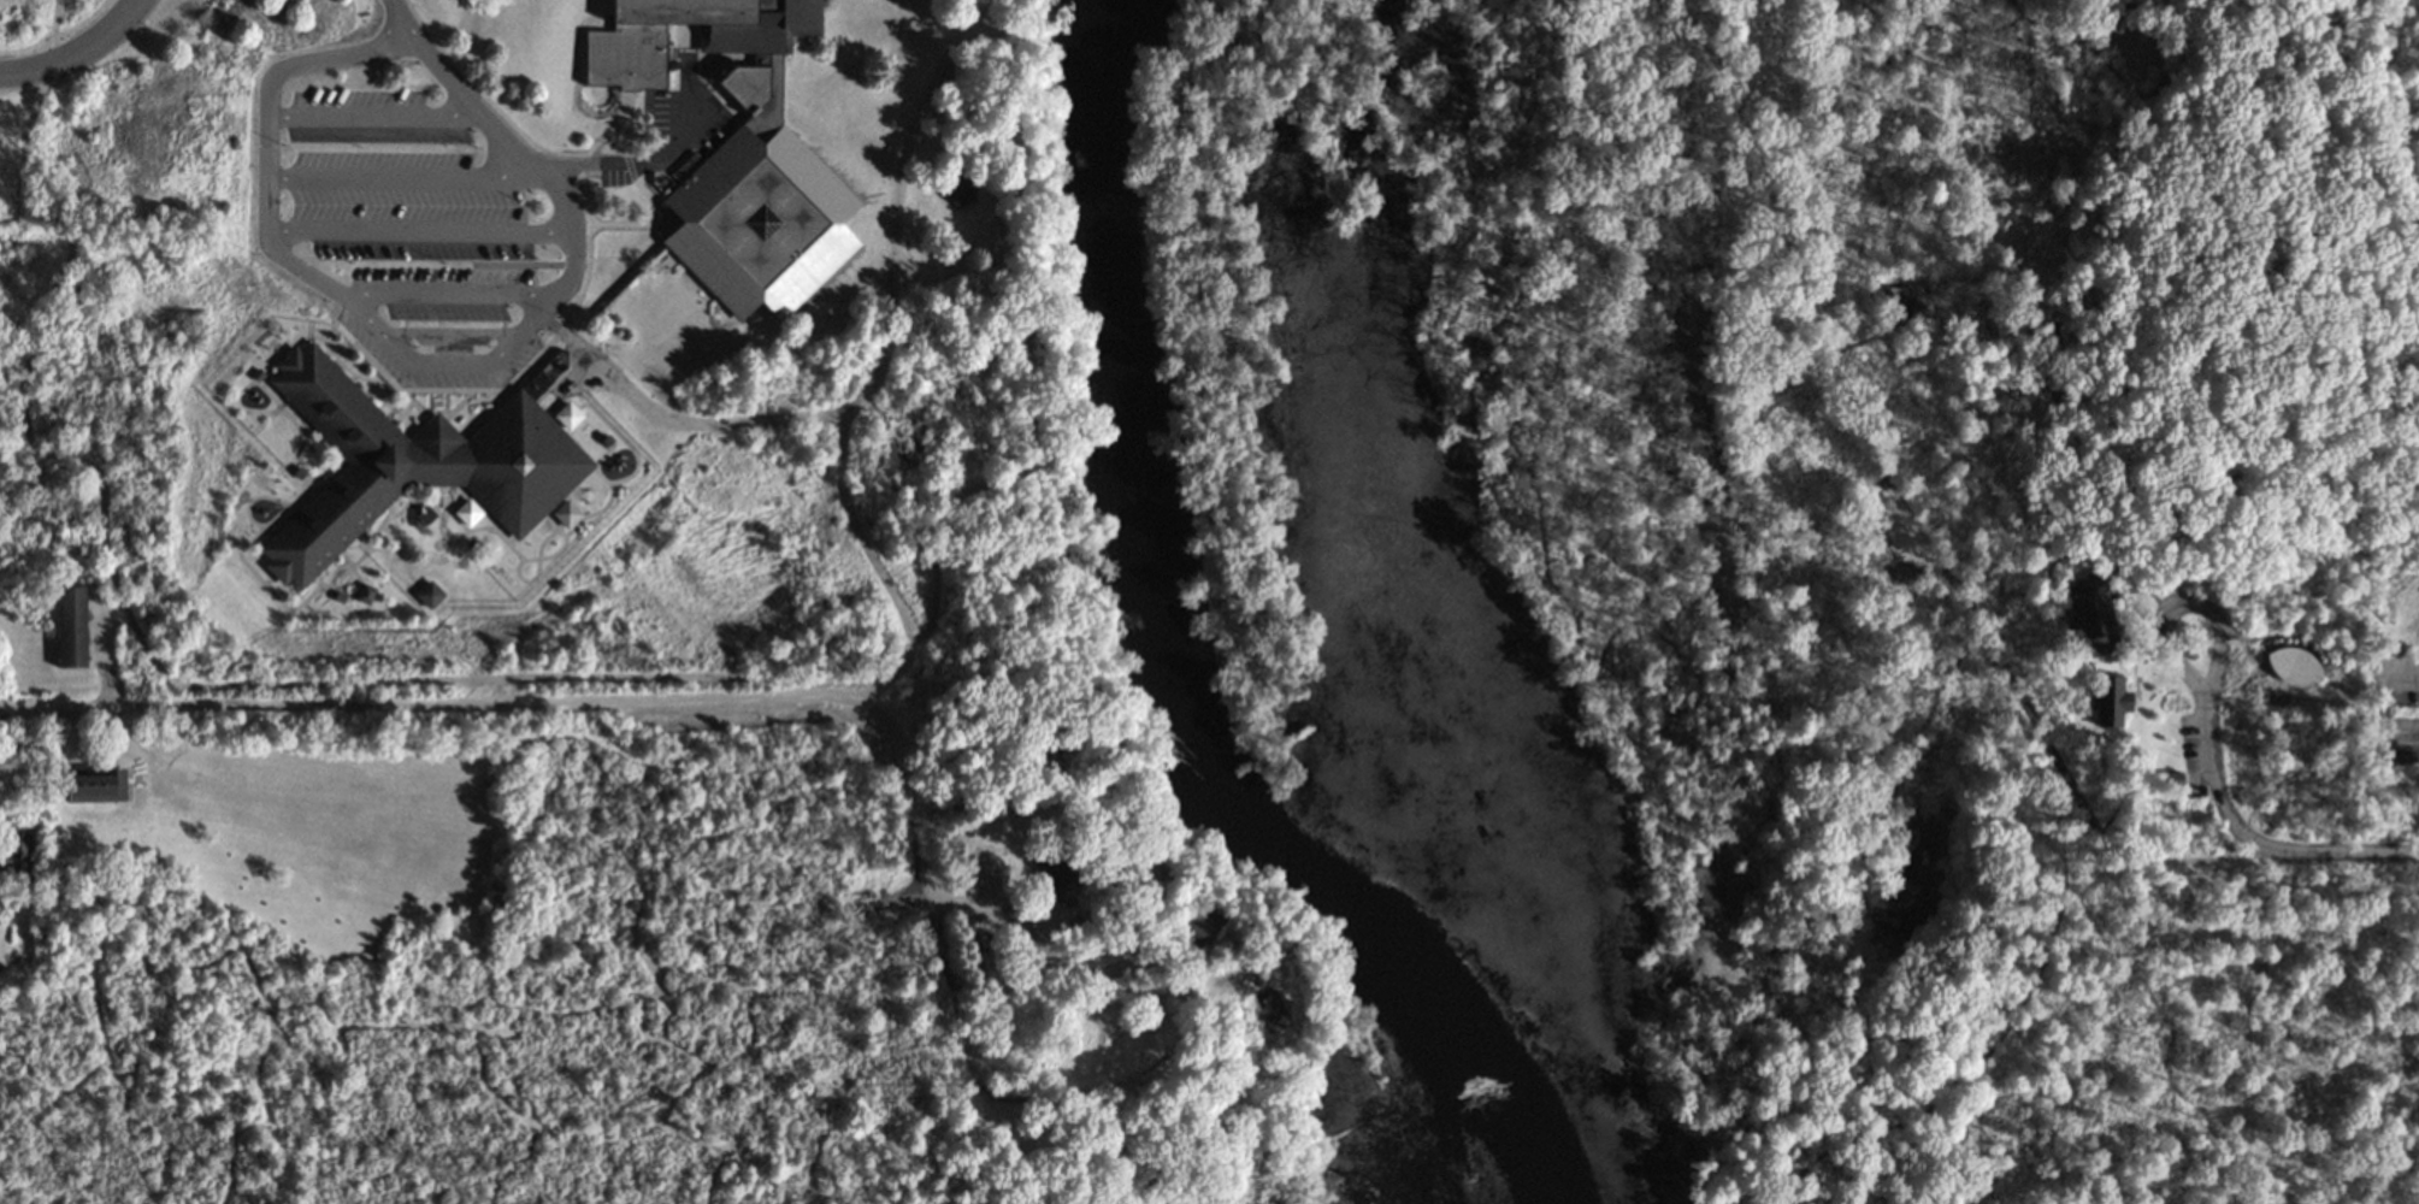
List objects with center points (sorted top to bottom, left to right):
road: (2061, 5)
road: (2405, 14)
road: (399, 20)
building: (691, 35)
road: (2052, 36)
road: (73, 49)
building: (747, 87)
road: (2136, 87)
road: (367, 119)
road: (654, 163)
road: (627, 175)
road: (397, 181)
building: (958, 188)
road: (633, 225)
building: (761, 225)
road: (418, 235)
road: (2188, 278)
road: (453, 295)
road: (577, 296)
road: (1016, 353)
park: (539, 354)
road: (405, 361)
road: (376, 370)
road: (872, 380)
road: (441, 406)
road: (455, 406)
road: (426, 407)
building: (566, 415)
building: (409, 465)
road: (2246, 480)
road: (1479, 492)
road: (1927, 507)
building: (467, 512)
building: (565, 513)
road: (873, 567)
road: (2134, 592)
building: (366, 594)
building: (430, 595)
road: (2099, 596)
road: (1931, 597)
road: (2195, 615)
building: (2081, 616)
building: (71, 626)
road: (2297, 650)
road: (148, 662)
building: (2293, 666)
river: (1178, 673)
road: (2096, 685)
building: (2111, 703)
road: (2140, 706)
road: (429, 707)
road: (2379, 713)
road: (2144, 749)
building: (95, 785)
road: (2256, 844)
building: (16, 852)
road: (918, 856)
road: (2326, 929)
road: (1982, 1057)
road: (1754, 1090)
road: (985, 1094)

